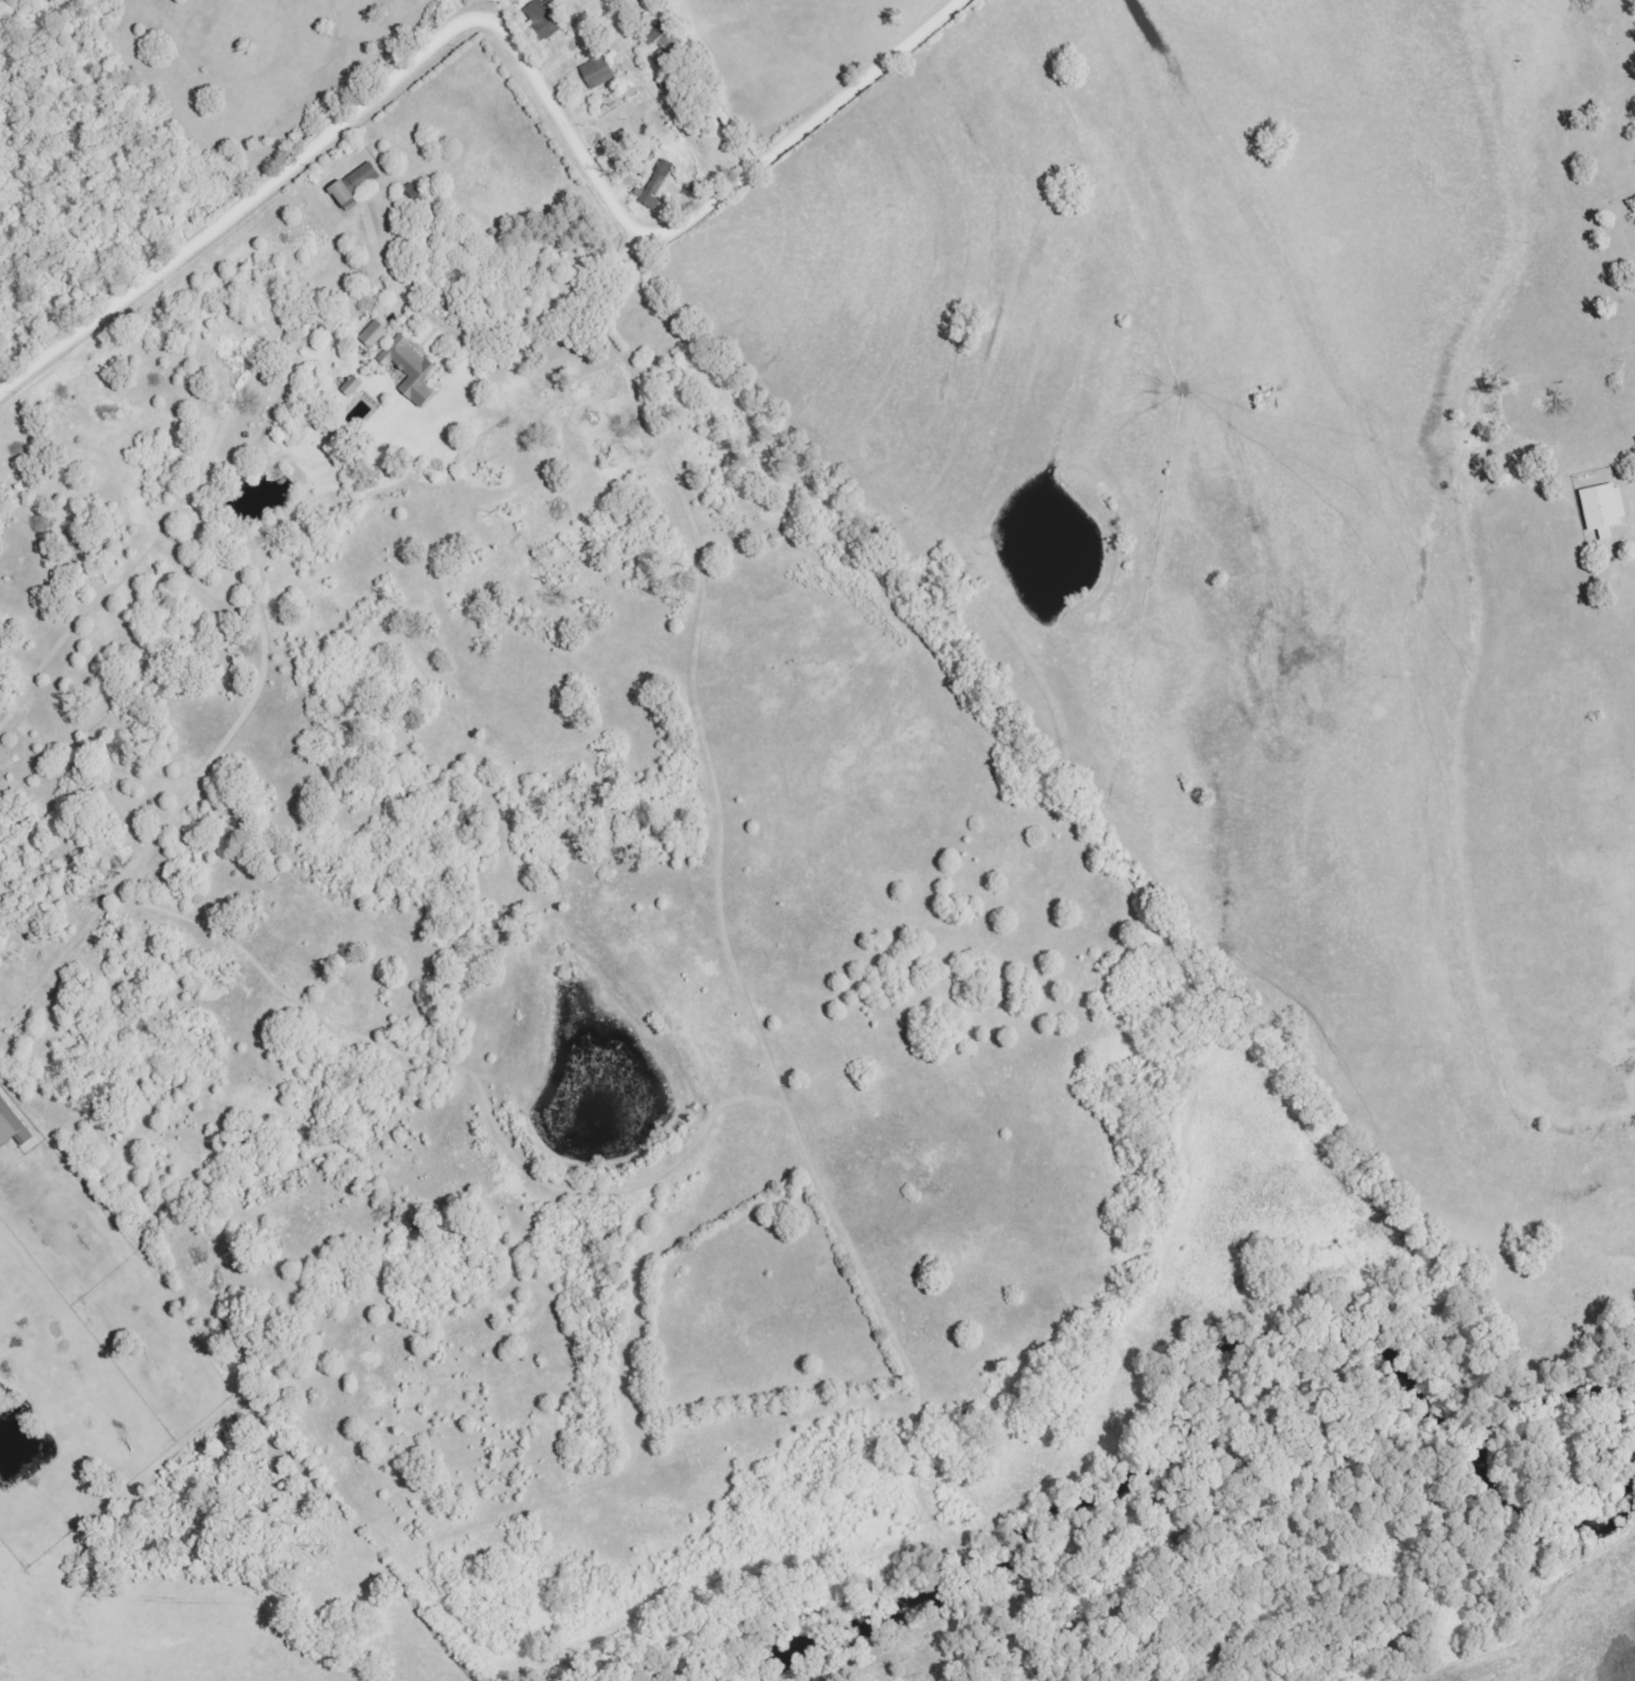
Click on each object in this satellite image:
building: (542, 20)
road: (511, 29)
building: (662, 44)
building: (596, 73)
building: (670, 156)
building: (655, 184)
building: (353, 185)
building: (373, 334)
road: (559, 342)
building: (409, 370)
building: (1601, 510)
building: (10, 1127)

